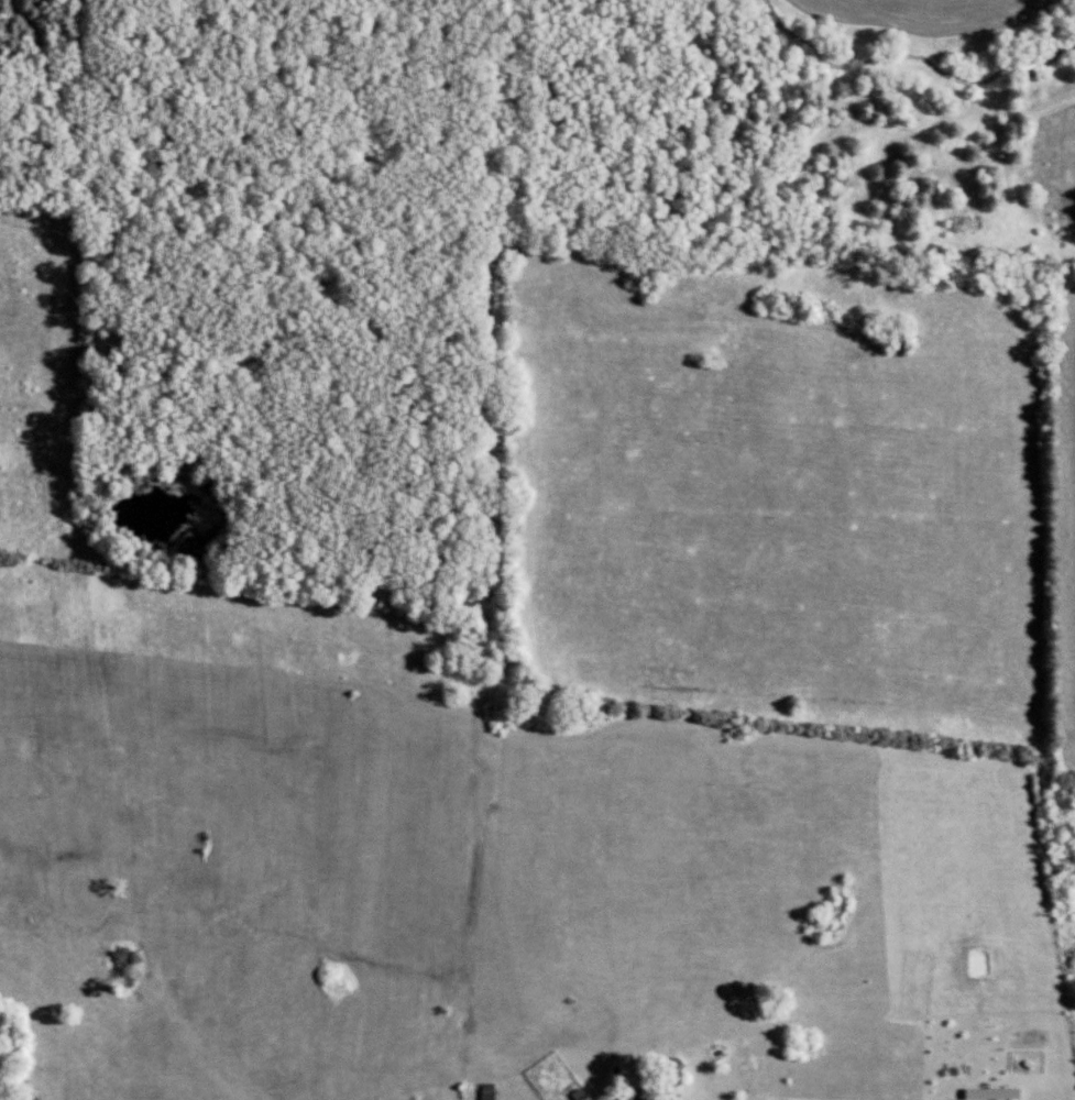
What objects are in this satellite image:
building: (669, 1079)
building: (999, 1092)

